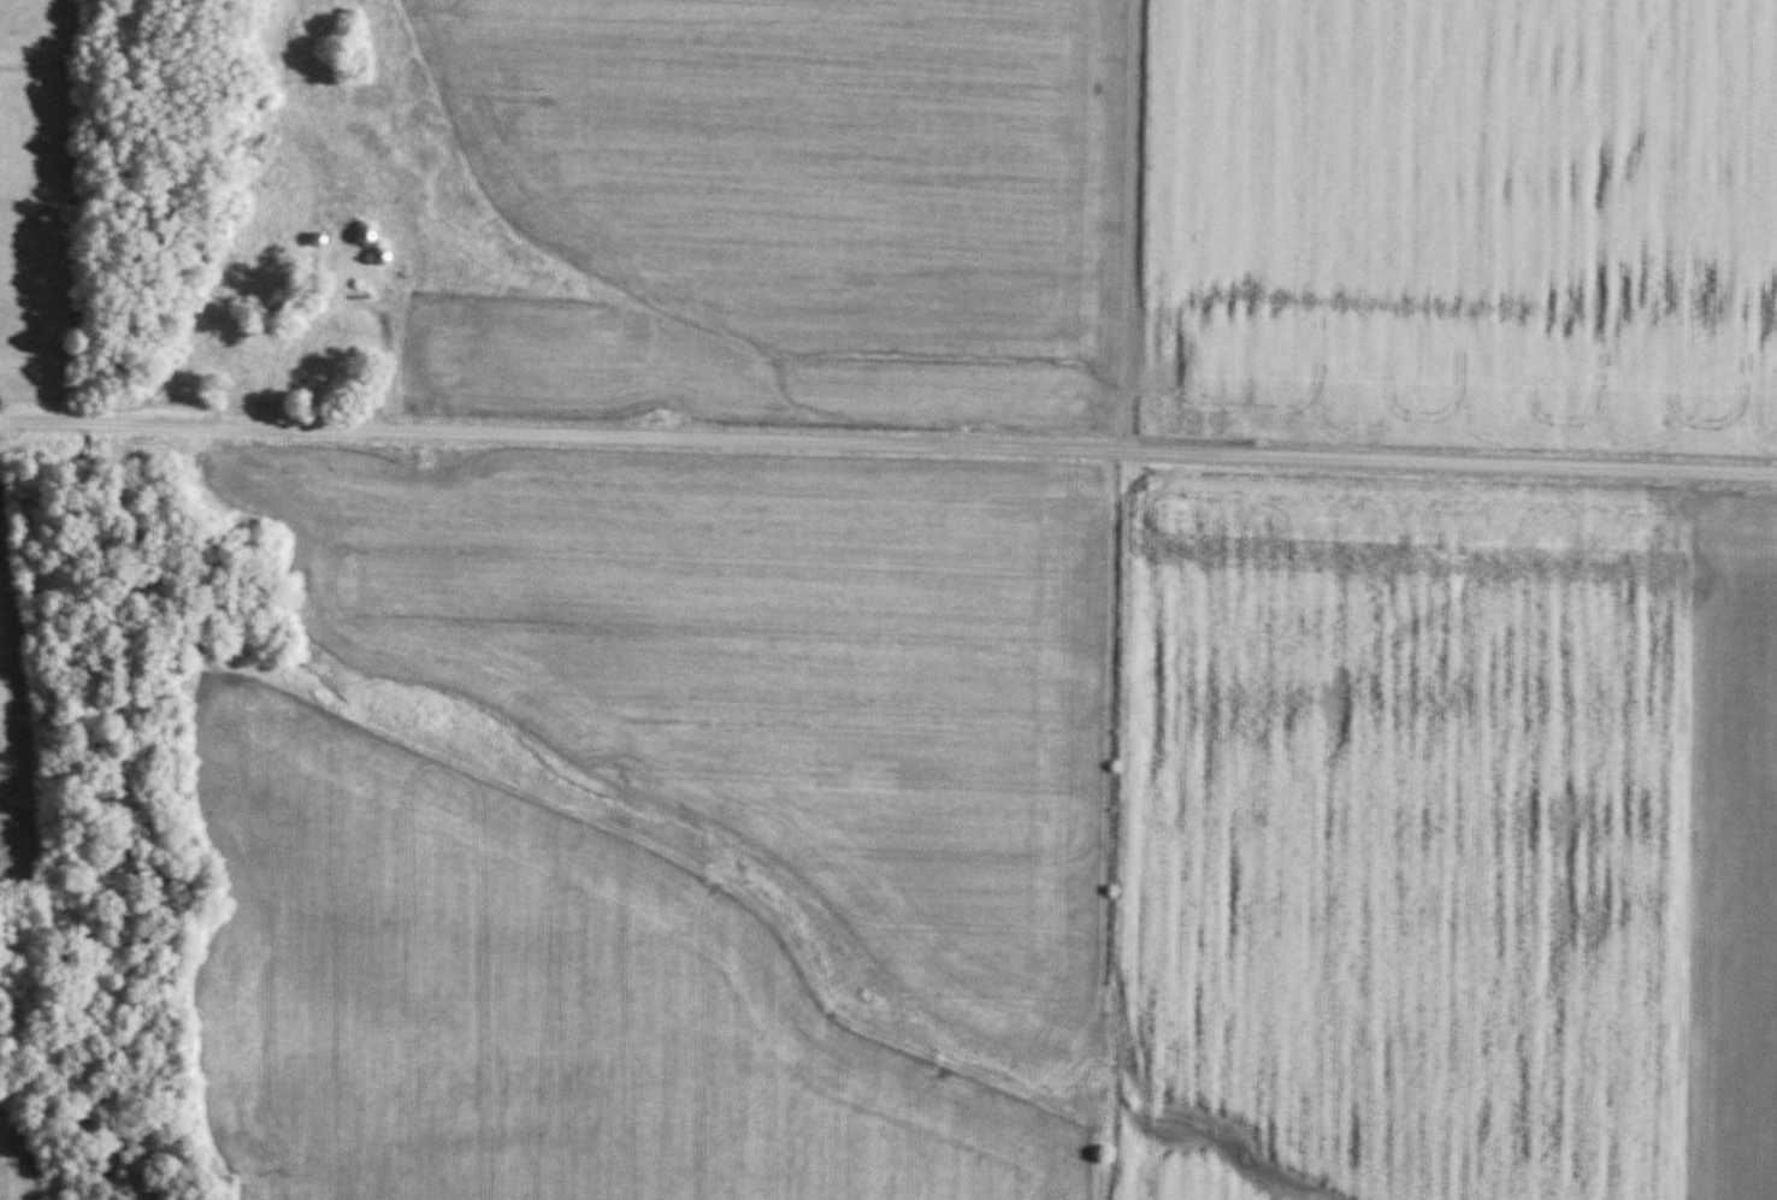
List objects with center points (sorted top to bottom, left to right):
road: (378, 350)
road: (889, 445)

